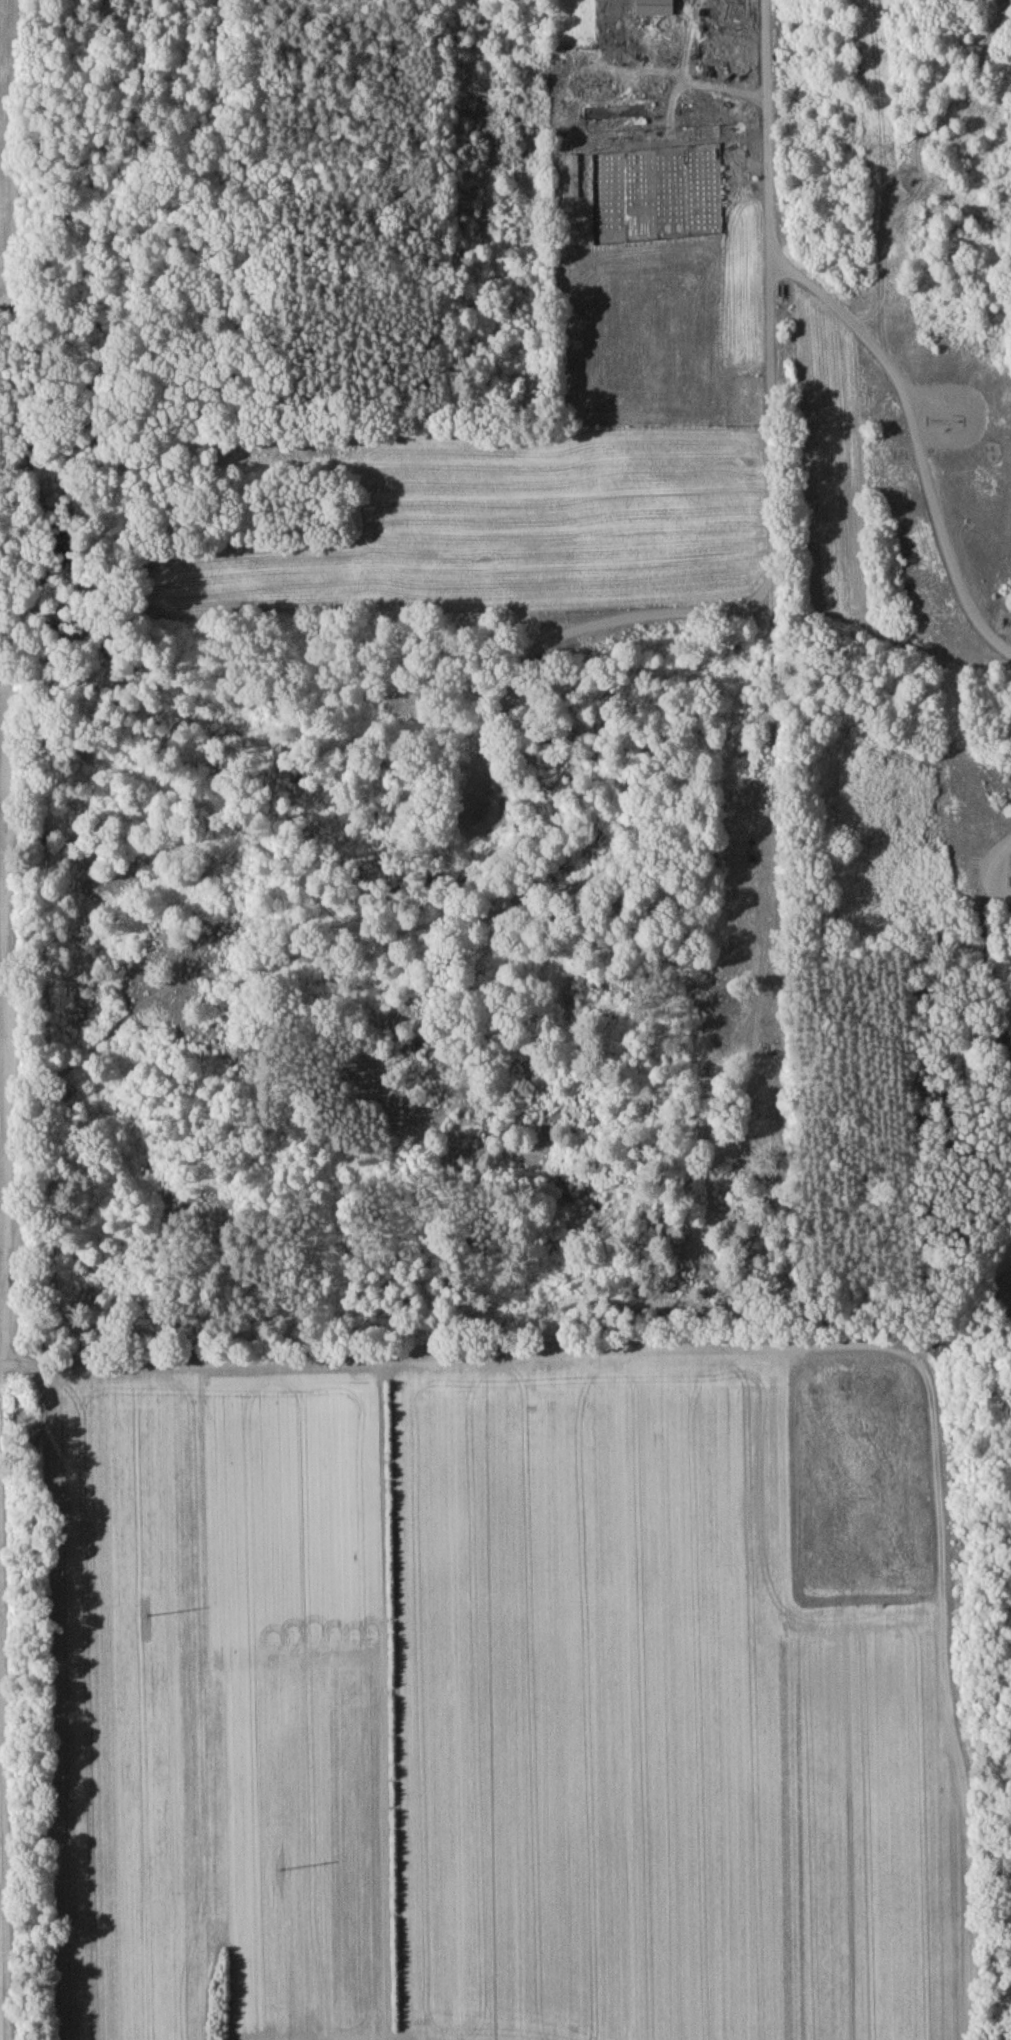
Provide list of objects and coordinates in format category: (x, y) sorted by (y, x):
building: (658, 9)
building: (574, 179)
road: (919, 444)
road: (771, 507)
road: (1008, 860)

